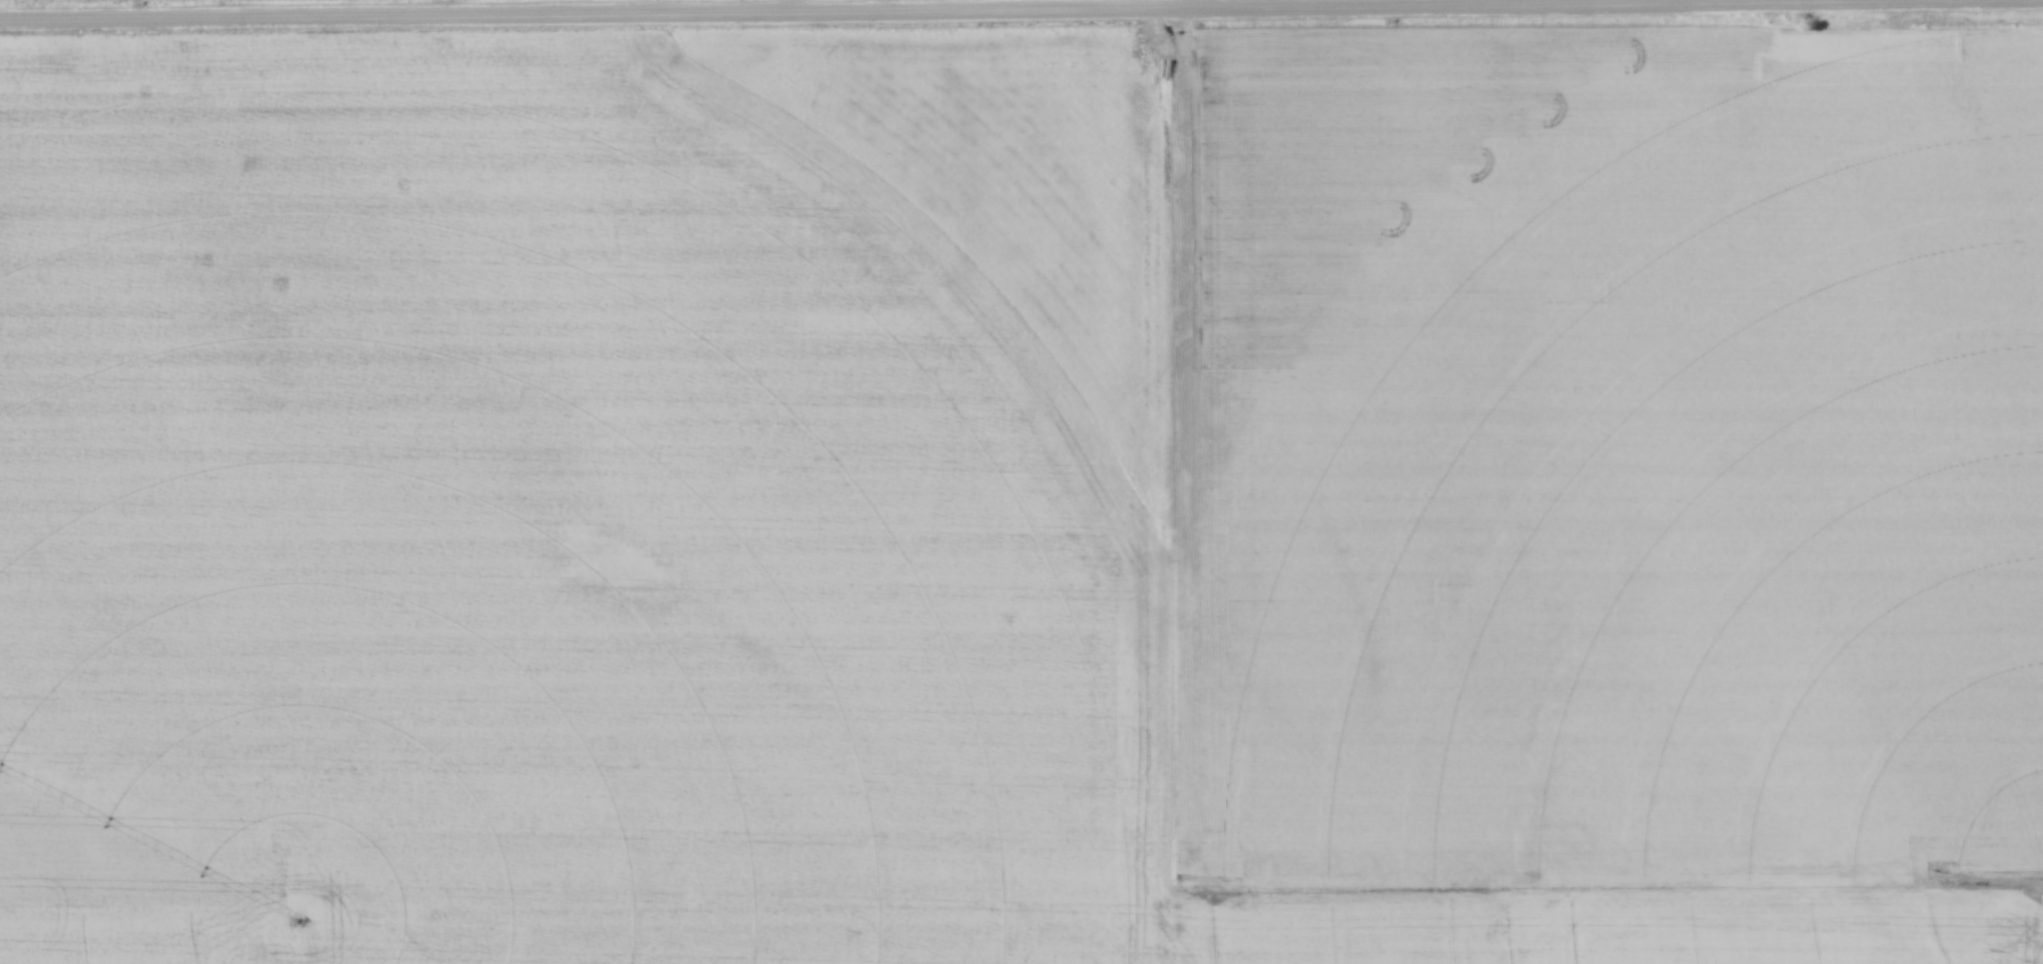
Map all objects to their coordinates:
road: (1021, 13)
crop: (1023, 497)
building: (696, 892)

